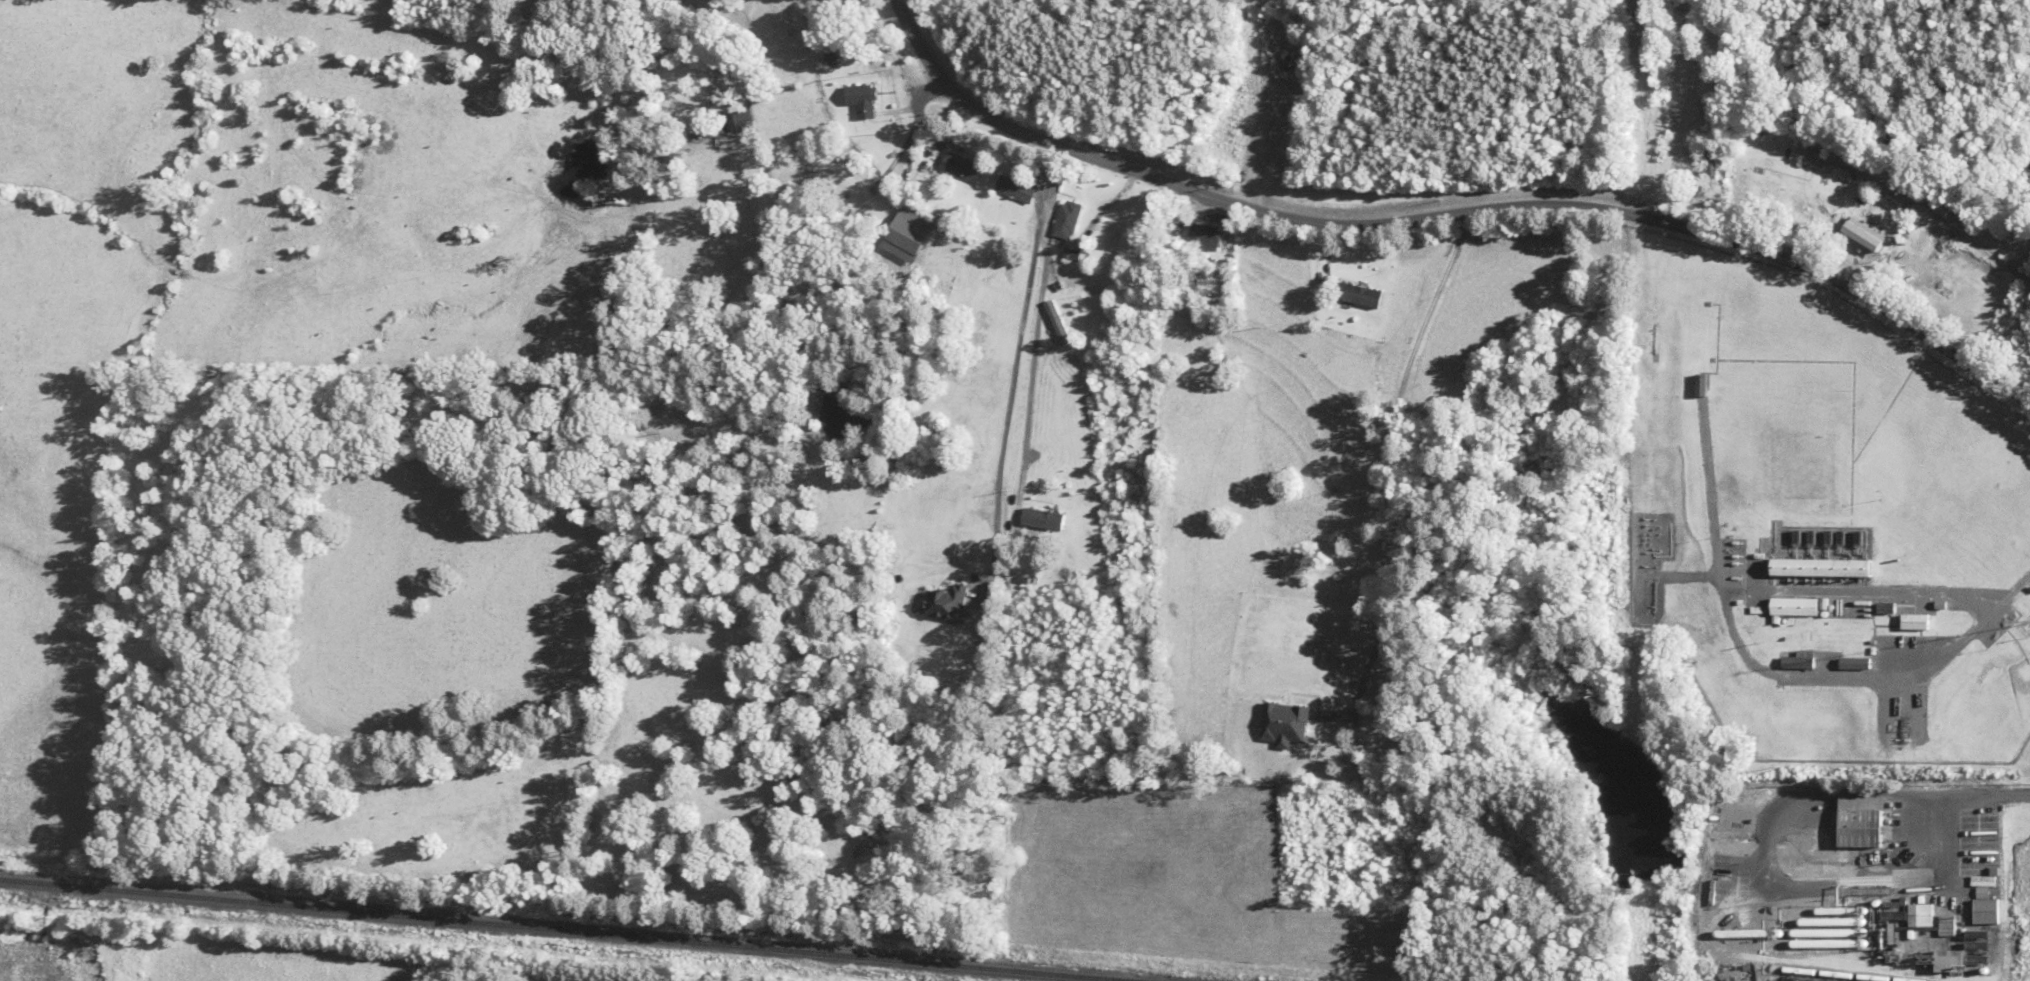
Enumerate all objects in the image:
building: (833, 58)
building: (864, 99)
building: (746, 118)
building: (1819, 142)
building: (1711, 161)
building: (965, 166)
building: (1018, 188)
building: (1942, 208)
road: (1449, 213)
building: (1070, 219)
building: (1207, 233)
building: (1360, 295)
building: (1060, 322)
building: (1702, 385)
building: (1045, 518)
building: (1821, 566)
building: (948, 603)
building: (1795, 606)
building: (1886, 607)
building: (1914, 621)
building: (1799, 660)
building: (1855, 663)
road: (2019, 794)
building: (1860, 821)
building: (1987, 909)
building: (1921, 914)
building: (1948, 924)
railway: (571, 929)
building: (1979, 945)
building: (1950, 958)
railway: (1855, 975)

